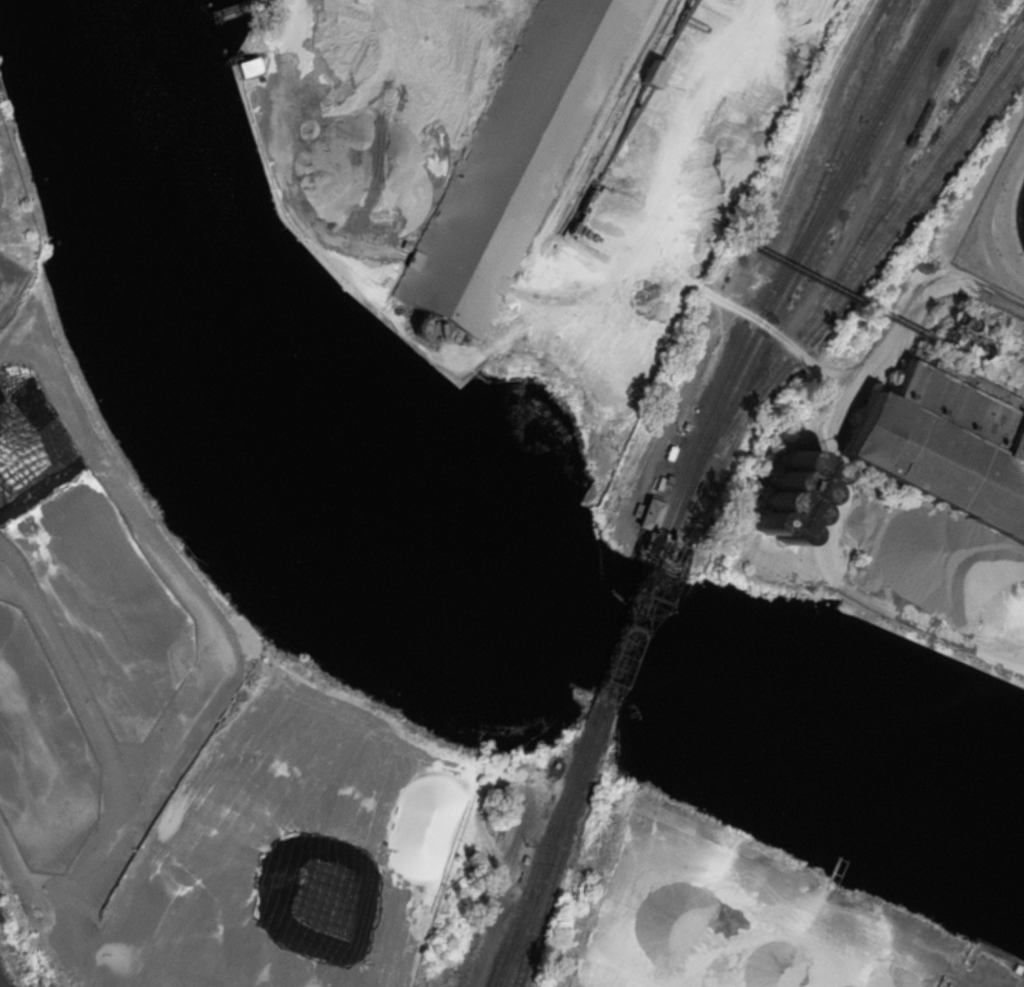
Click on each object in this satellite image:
building: (247, 67)
building: (653, 73)
railway: (846, 127)
railway: (906, 146)
building: (513, 159)
wastewater plant: (999, 226)
railway: (886, 237)
railway: (788, 264)
railway: (798, 266)
railway: (842, 273)
road: (983, 296)
building: (955, 316)
storage tank: (955, 316)
building: (969, 323)
storage tank: (969, 323)
building: (963, 332)
building: (945, 336)
storage tank: (945, 336)
building: (335, 342)
building: (959, 343)
storage tank: (959, 343)
building: (977, 348)
storage tank: (977, 348)
road: (802, 354)
road: (996, 369)
building: (373, 442)
building: (947, 442)
building: (789, 495)
storage tank: (789, 495)
building: (650, 514)
river: (435, 553)
road: (825, 575)
road: (13, 595)
railway: (629, 618)
railway: (638, 621)
railway: (543, 842)
railway: (553, 843)
landfill: (289, 853)
railway: (546, 884)
railway: (1, 984)

